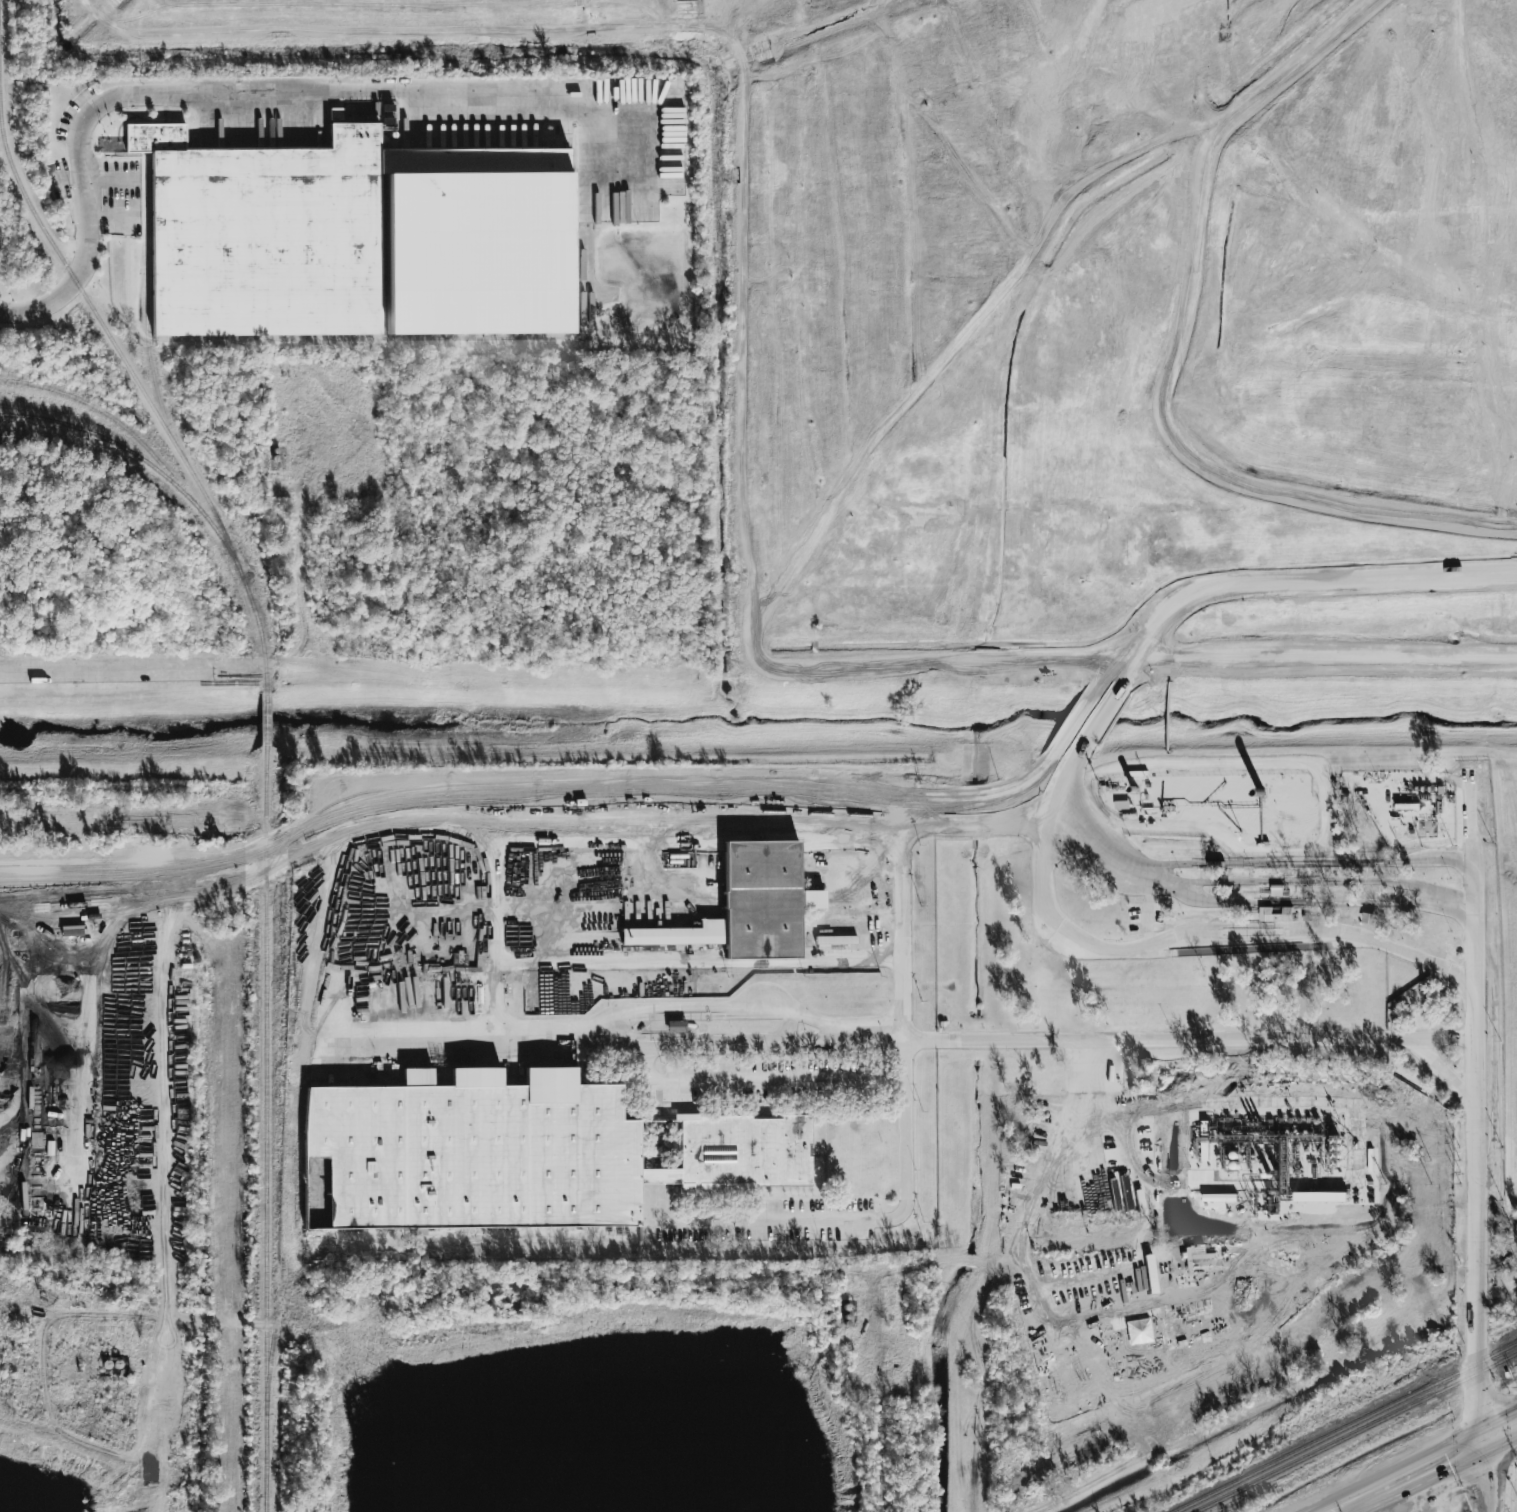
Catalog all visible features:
road: (675, 34)
road: (242, 92)
building: (354, 237)
landfill: (1066, 311)
railway: (145, 317)
railway: (116, 350)
railway: (115, 423)
railway: (133, 455)
road: (800, 576)
road: (1308, 578)
road: (1130, 657)
road: (129, 670)
road: (1125, 672)
road: (1095, 718)
railway: (265, 720)
road: (1073, 754)
road: (485, 801)
road: (1018, 814)
road: (853, 838)
road: (560, 844)
road: (1297, 863)
road: (1238, 881)
road: (1475, 896)
road: (1305, 901)
building: (749, 905)
road: (1149, 913)
building: (1275, 914)
road: (1177, 934)
road: (1476, 953)
road: (860, 958)
road: (621, 1029)
road: (1204, 1038)
road: (1446, 1039)
road: (714, 1040)
road: (736, 1080)
railway: (267, 1129)
building: (523, 1151)
road: (912, 1160)
road: (1139, 1165)
road: (1033, 1195)
road: (1476, 1210)
railway: (1345, 1427)
road: (1502, 1428)
railway: (1357, 1434)
traffic signals: (1487, 1436)
road: (884, 1450)
road: (1429, 1460)
road: (1488, 1474)
road: (1345, 1498)
road: (1379, 1498)

